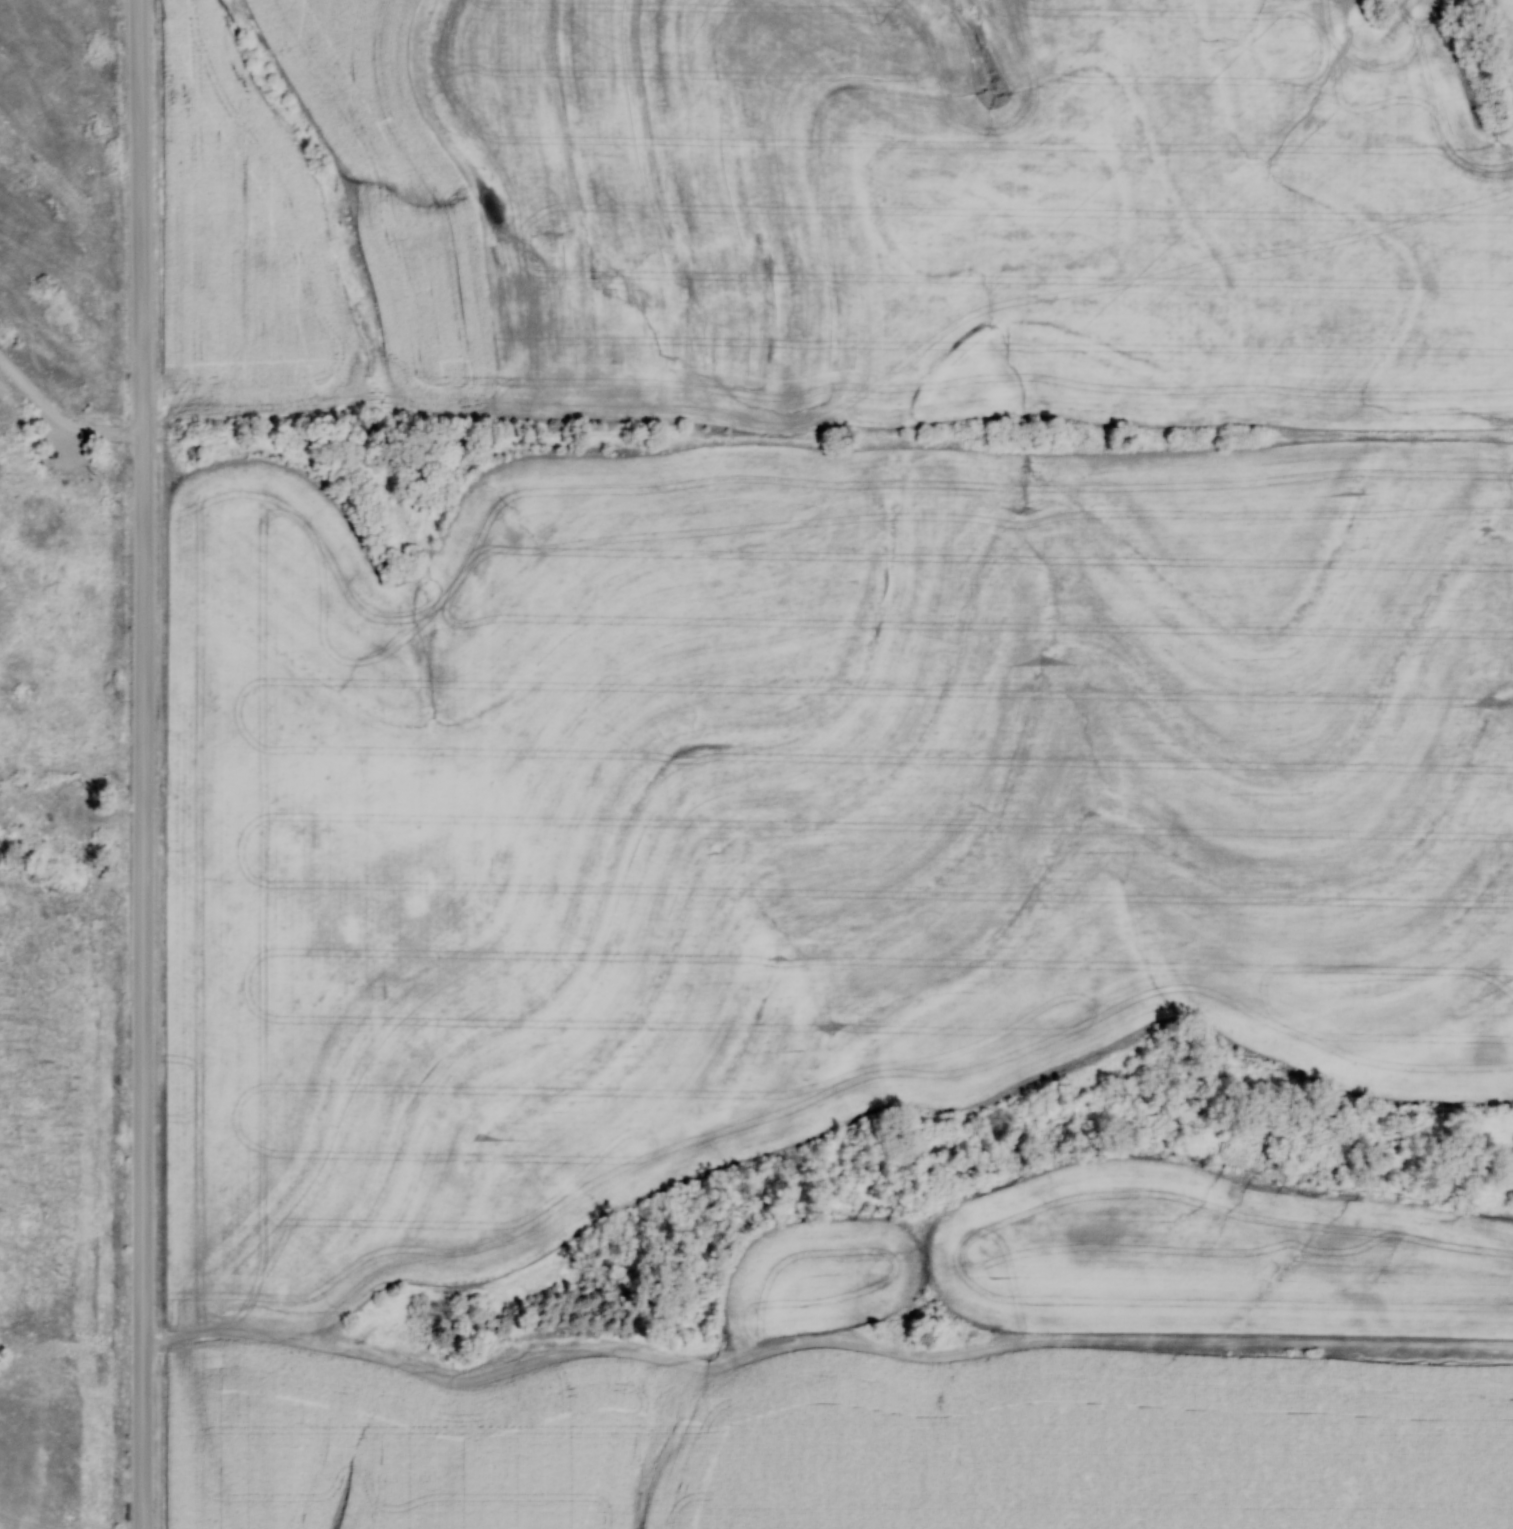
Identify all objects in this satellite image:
road: (60, 421)
road: (72, 427)
parking lot: (65, 446)
road: (144, 764)

